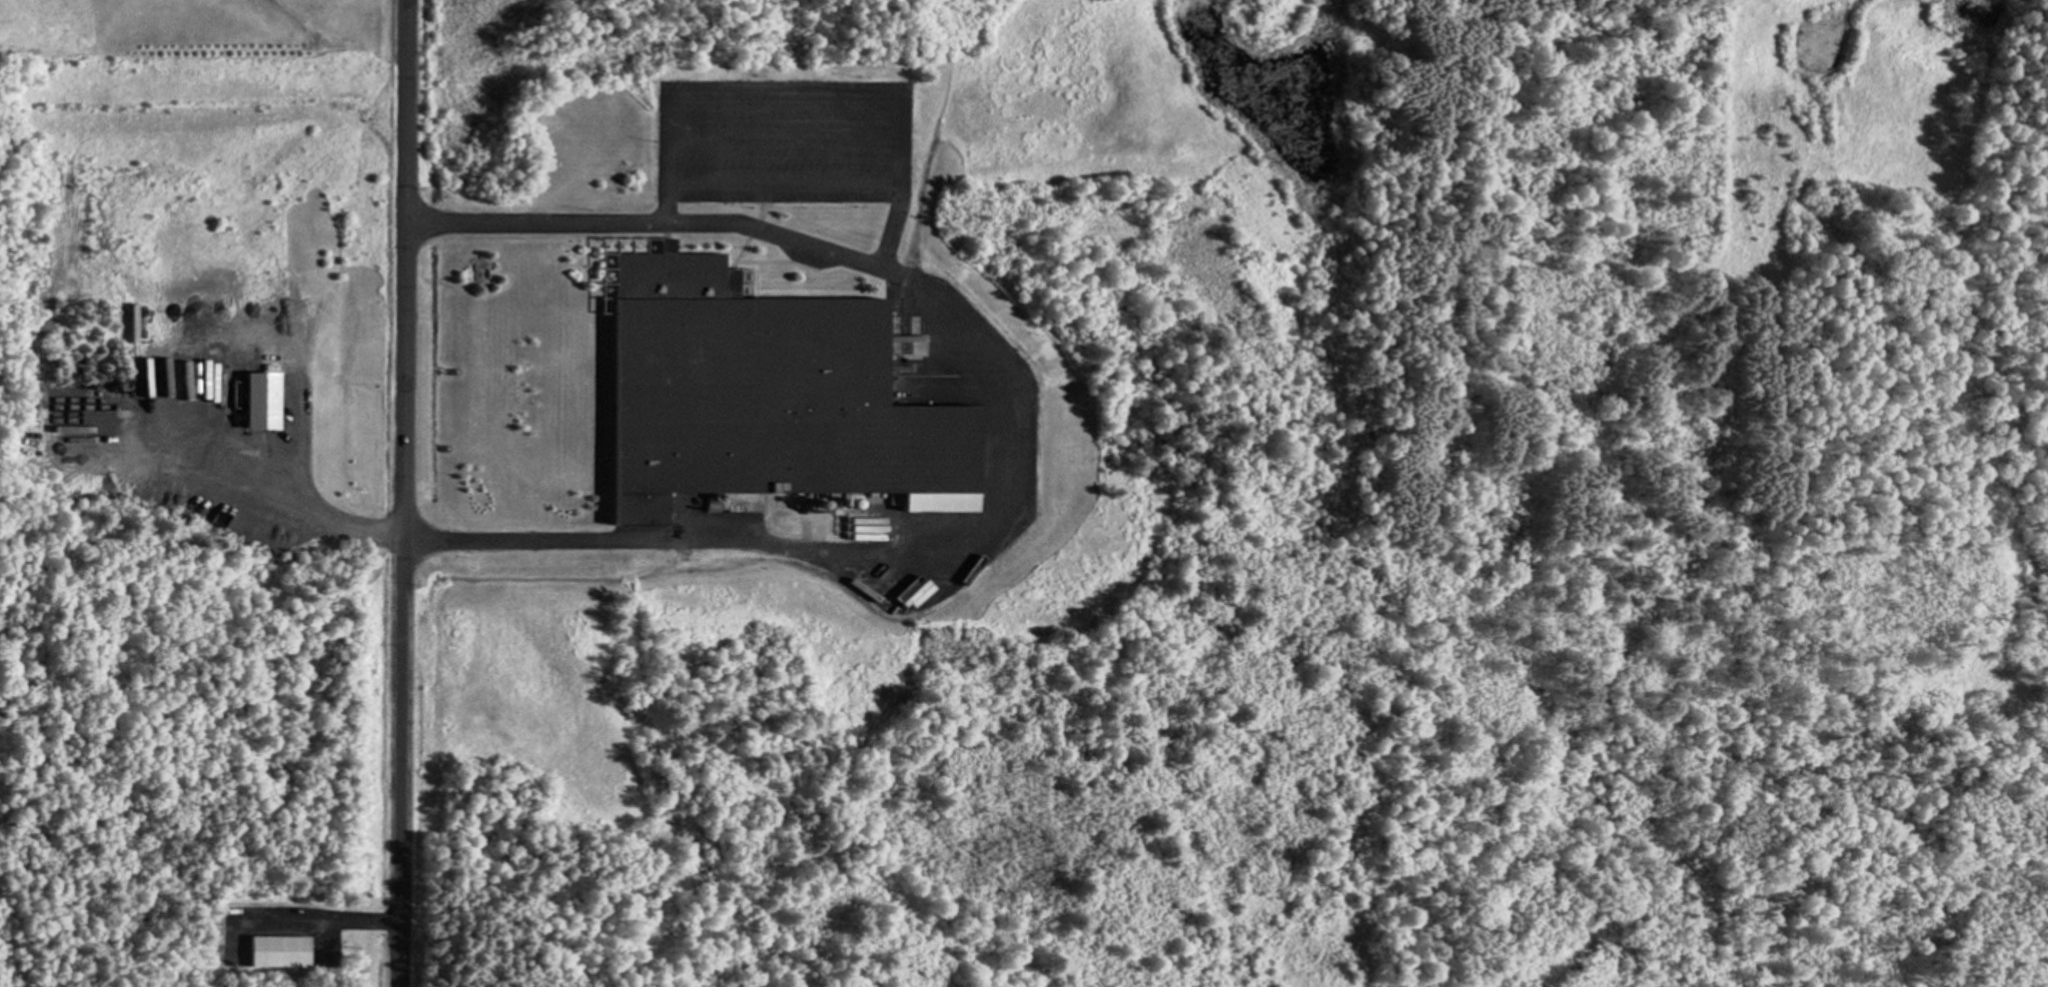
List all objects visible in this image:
crop: (196, 32)
road: (806, 99)
parking lot: (785, 140)
building: (766, 397)
building: (260, 402)
road: (1012, 427)
road: (401, 493)
park: (177, 740)
building: (279, 949)

